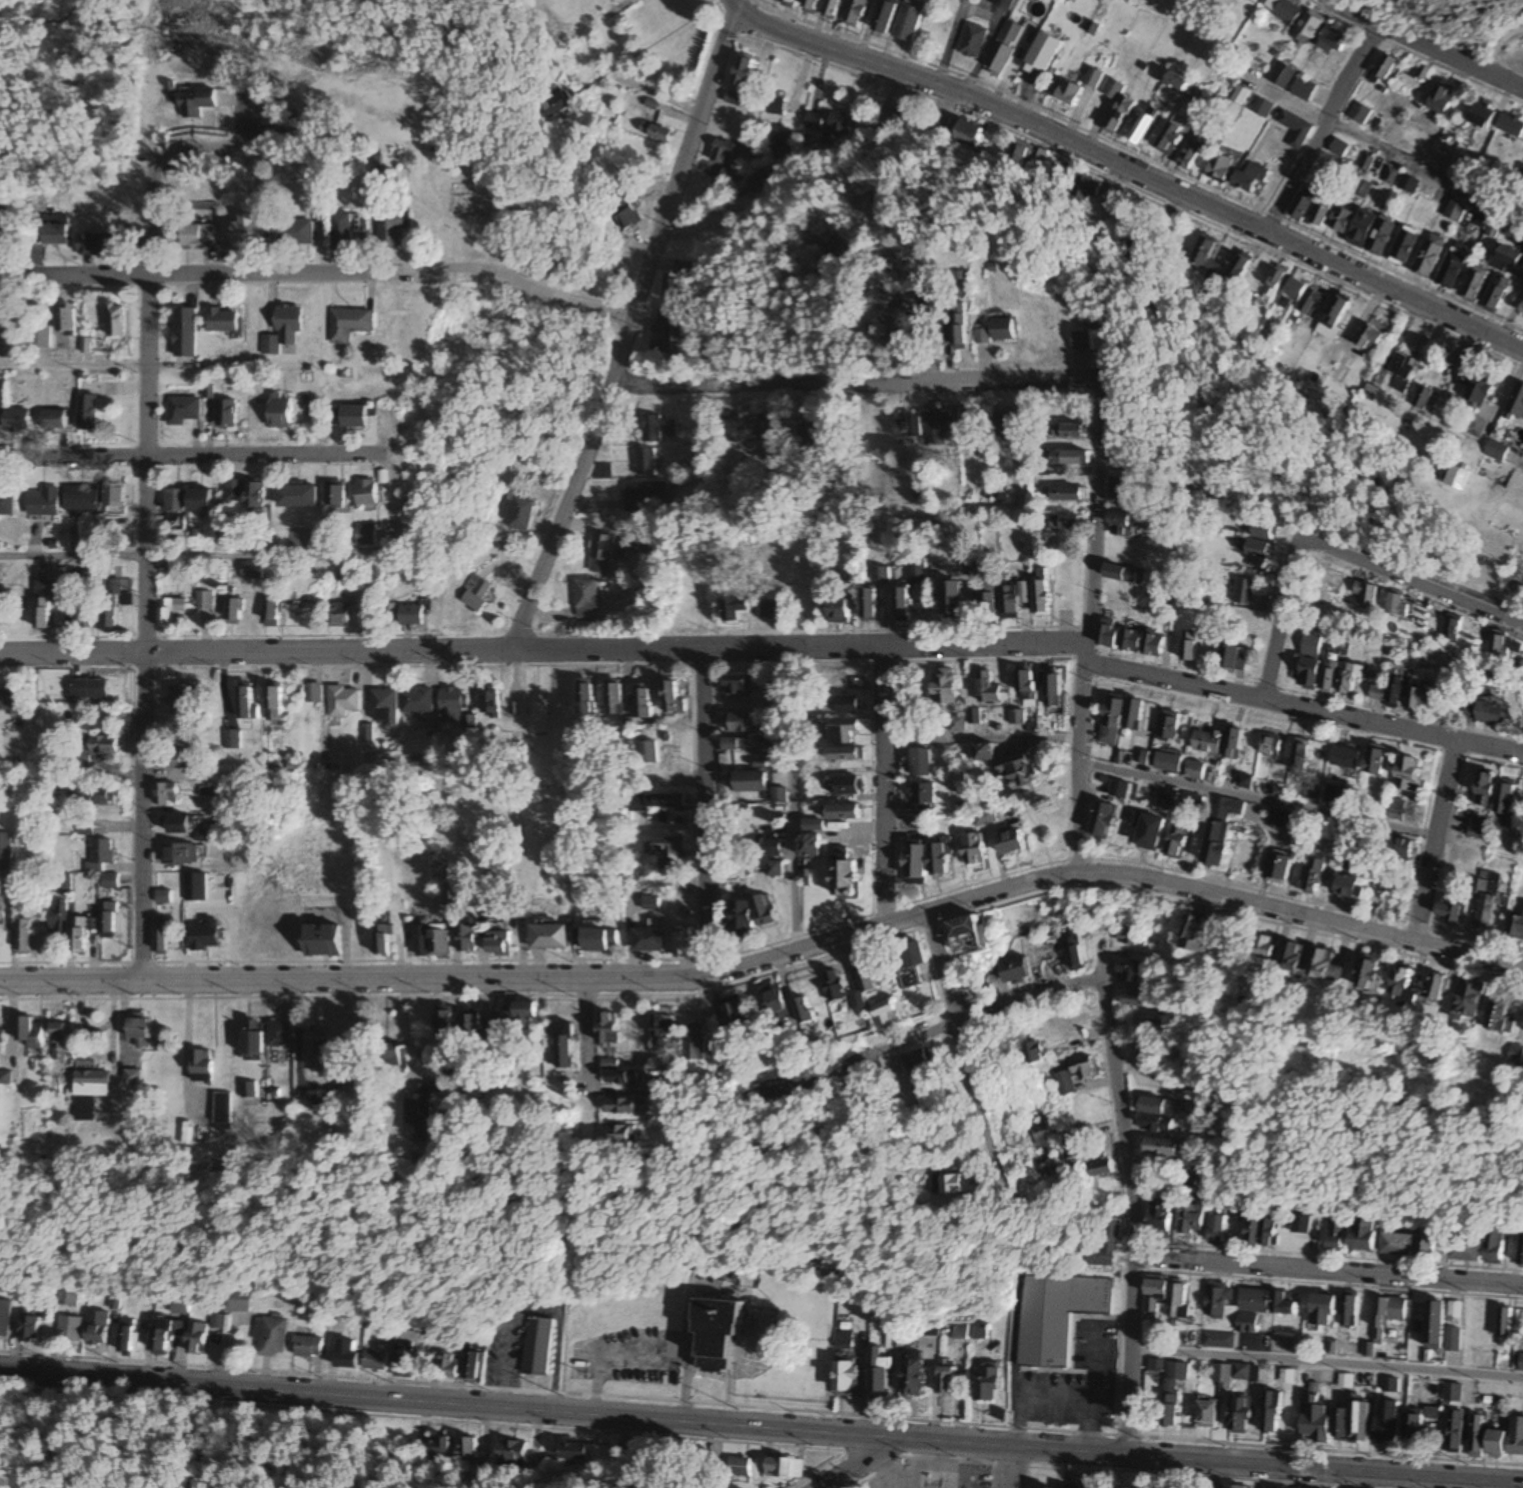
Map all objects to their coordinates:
road: (1422, 46)
road: (1510, 61)
road: (1321, 131)
road: (191, 149)
road: (1395, 162)
road: (1125, 168)
road: (318, 272)
road: (625, 332)
road: (849, 383)
road: (191, 456)
road: (1518, 461)
road: (190, 555)
road: (144, 565)
road: (1412, 580)
road: (1279, 618)
road: (1084, 625)
road: (542, 649)
road: (1303, 706)
road: (980, 740)
road: (882, 785)
road: (1256, 799)
road: (704, 812)
road: (1435, 840)
road: (771, 957)
road: (940, 1029)
road: (585, 1034)
road: (962, 1052)
road: (1129, 1198)
road: (1330, 1270)
building: (1058, 1323)
road: (1327, 1366)
road: (761, 1432)
road: (875, 1466)
road: (1012, 1469)

